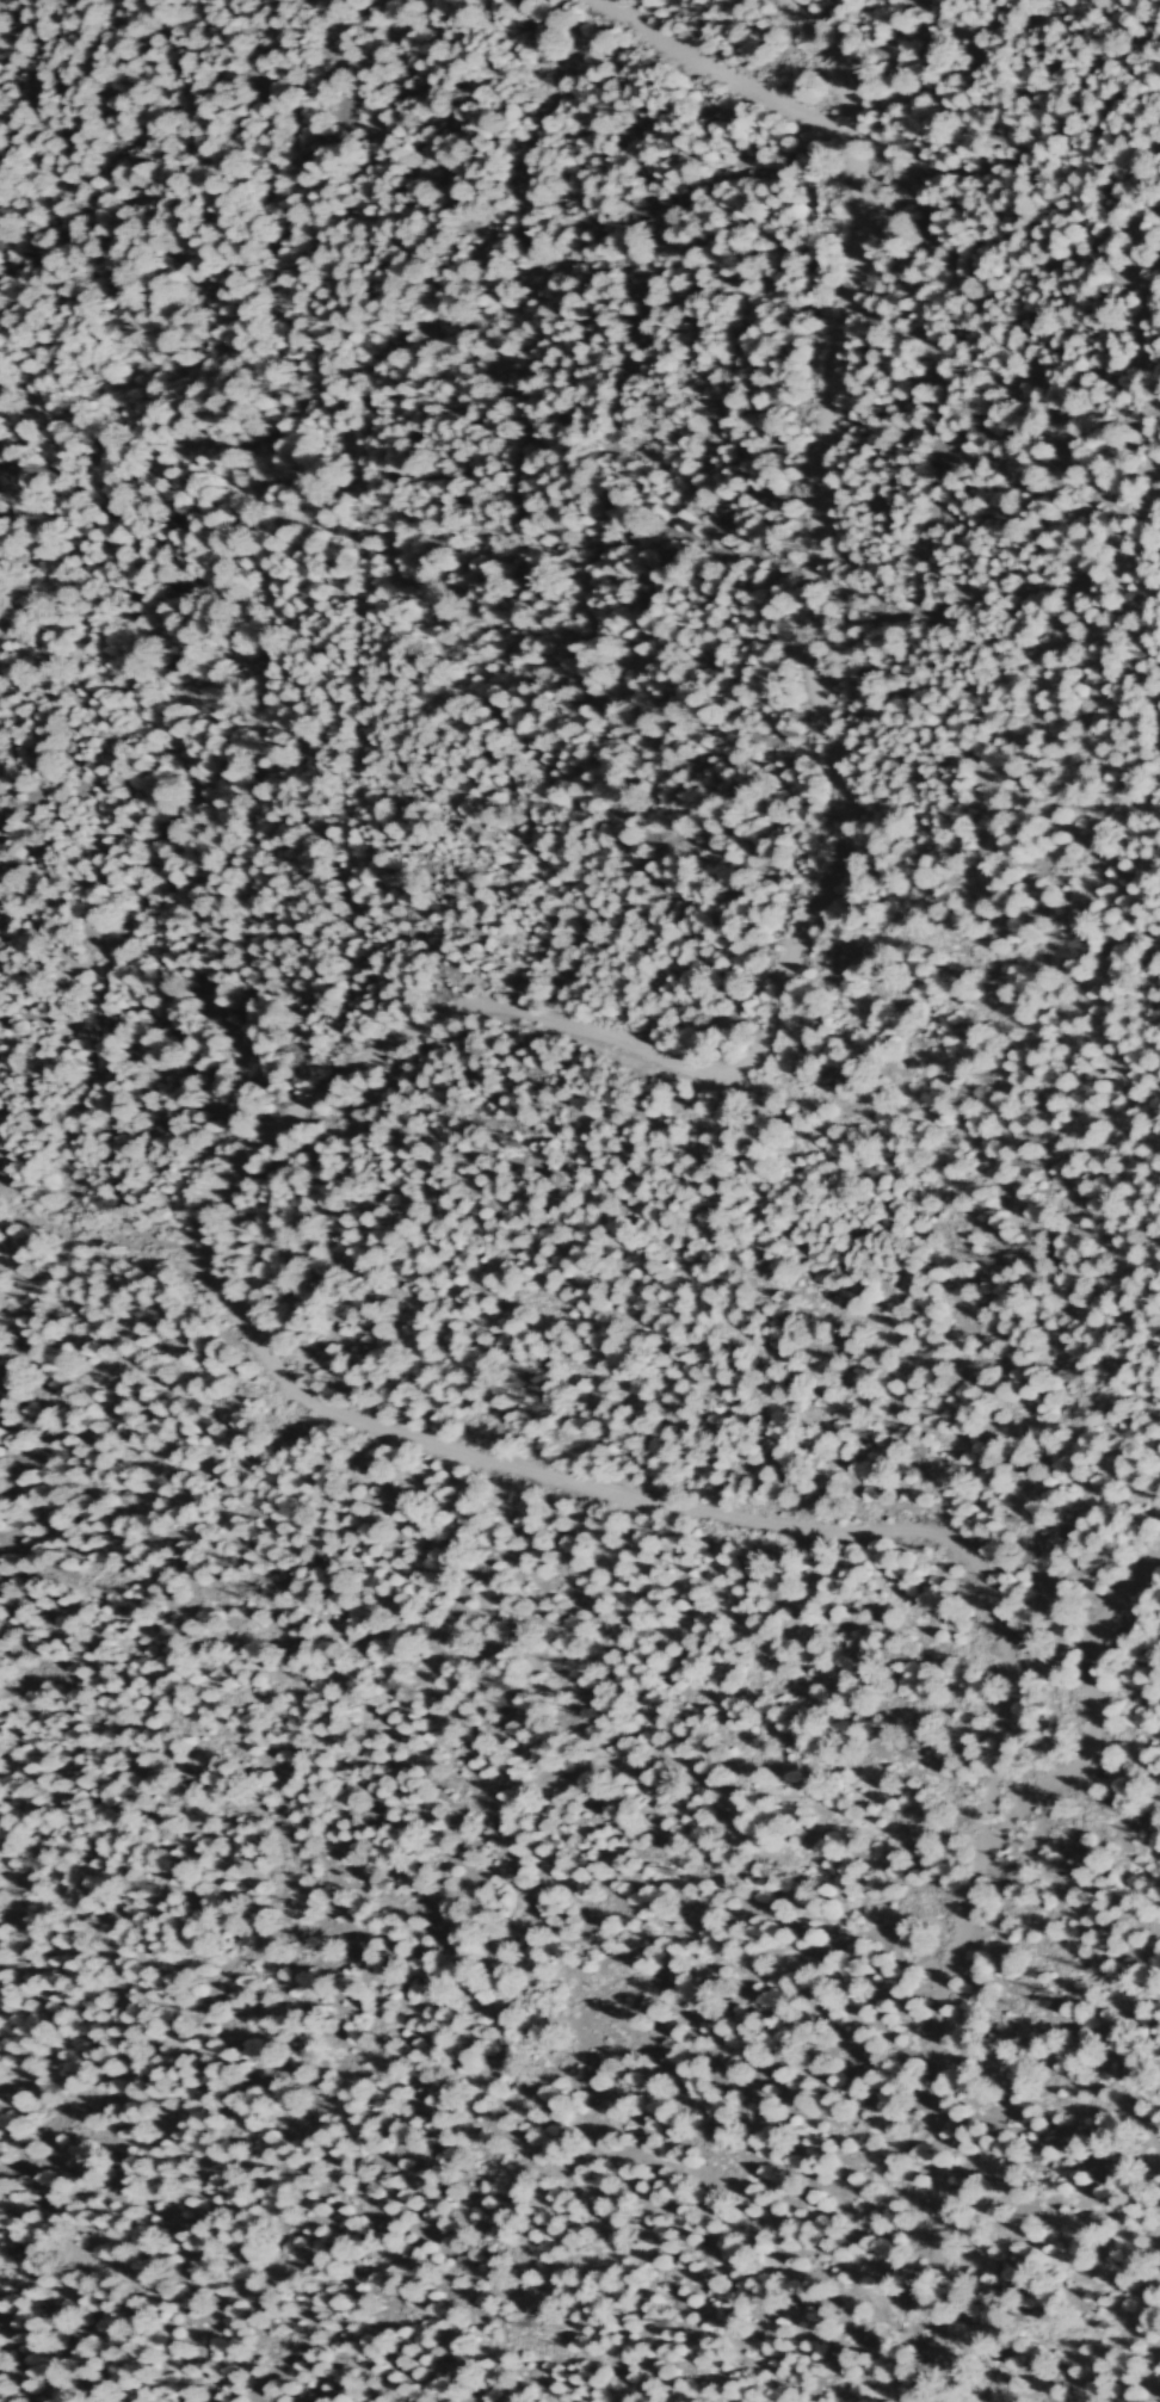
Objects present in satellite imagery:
road: (1017, 1216)
road: (588, 1482)

